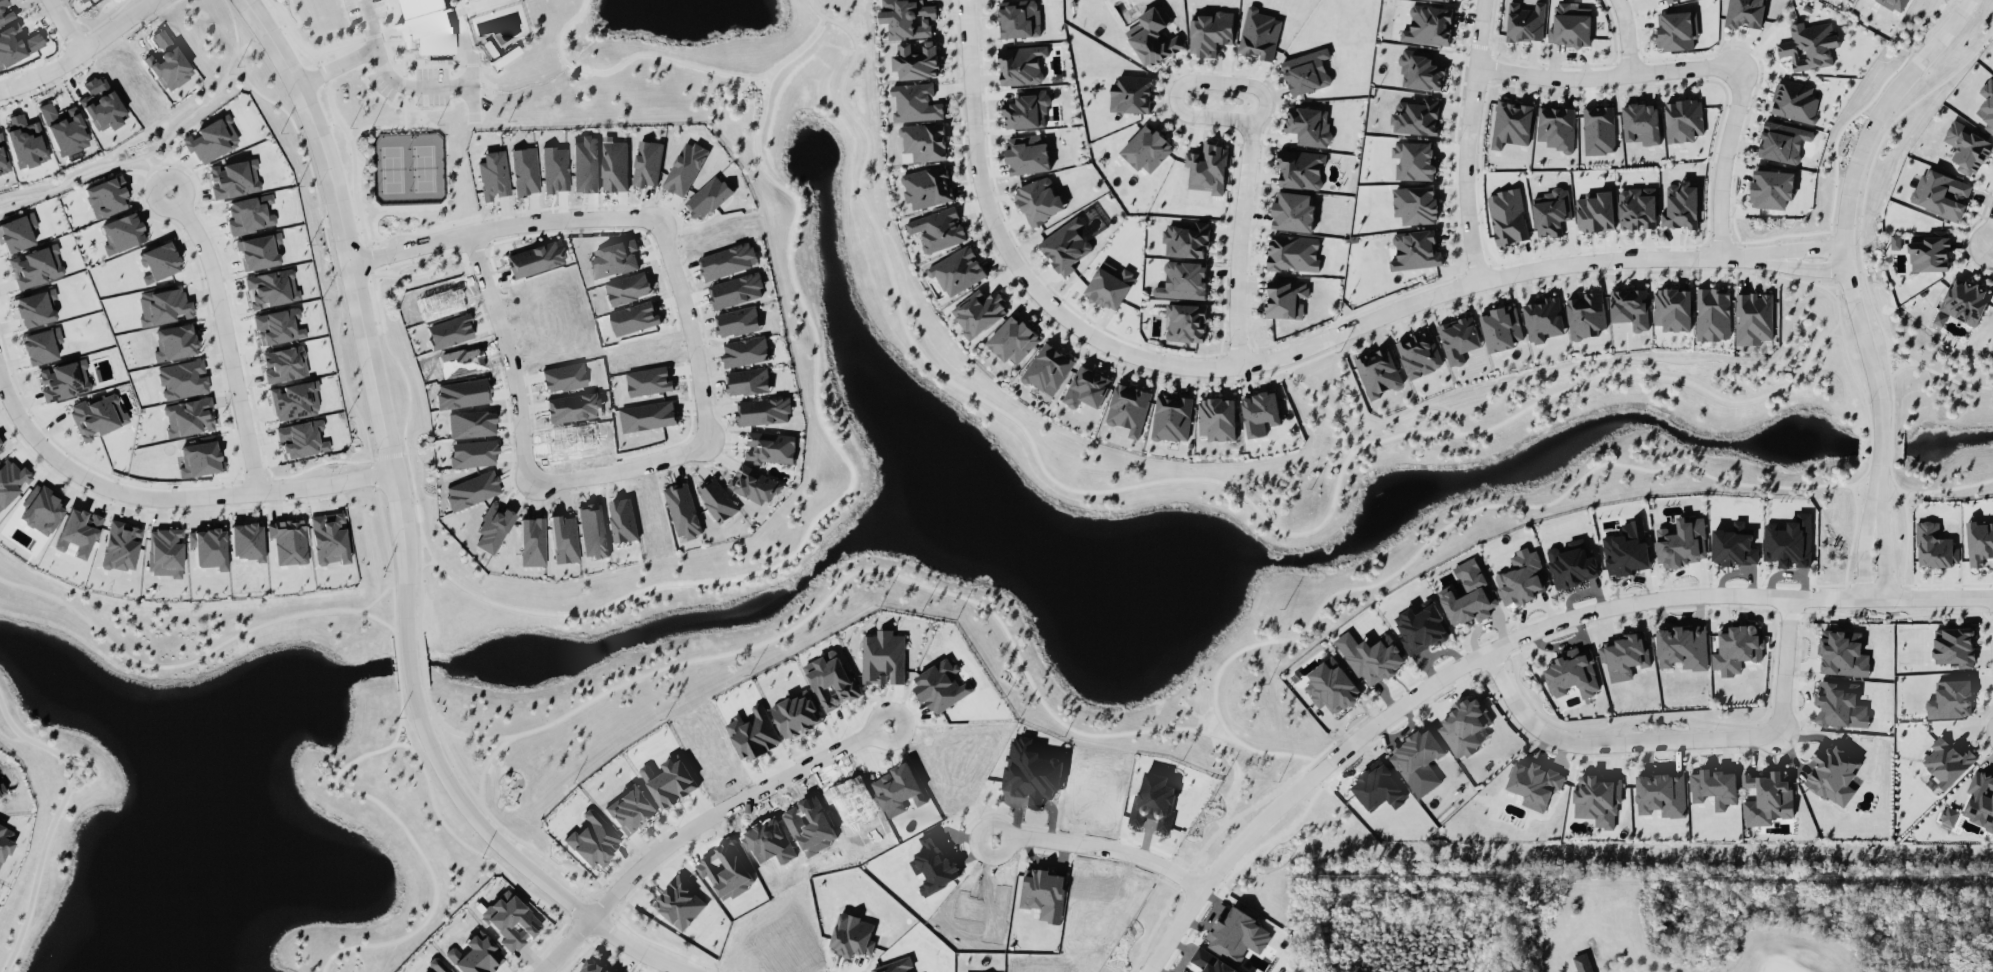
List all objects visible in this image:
building: (81, 0)
building: (1451, 0)
building: (2, 1)
building: (1670, 1)
road: (461, 4)
building: (1894, 4)
road: (471, 6)
building: (1745, 13)
building: (6, 15)
building: (908, 18)
building: (1525, 22)
building: (1571, 24)
road: (65, 25)
building: (1428, 25)
building: (426, 26)
building: (1677, 29)
building: (1210, 33)
building: (1259, 33)
road: (365, 36)
road: (1622, 36)
building: (1154, 38)
building: (17, 44)
building: (1809, 45)
road: (79, 51)
road: (317, 55)
road: (669, 56)
building: (916, 60)
building: (167, 61)
road: (337, 64)
building: (1021, 64)
building: (1420, 70)
building: (1306, 71)
road: (234, 74)
road: (1604, 74)
road: (393, 77)
road: (473, 83)
road: (760, 86)
building: (1131, 94)
building: (1795, 100)
building: (915, 102)
building: (102, 104)
building: (1027, 109)
road: (1189, 114)
building: (1416, 117)
building: (1683, 120)
building: (1641, 122)
building: (1511, 123)
building: (1309, 125)
building: (1556, 127)
building: (64, 128)
building: (1598, 130)
building: (212, 139)
building: (25, 141)
building: (924, 141)
road: (1465, 141)
building: (1782, 141)
building: (1147, 148)
building: (1967, 148)
building: (1027, 154)
road: (142, 156)
building: (3, 157)
road: (1722, 159)
building: (1414, 160)
building: (647, 162)
building: (585, 163)
building: (615, 165)
building: (554, 168)
building: (685, 168)
building: (1207, 168)
park: (411, 169)
building: (1300, 169)
building: (524, 170)
road: (158, 173)
building: (493, 174)
building: (233, 177)
building: (927, 186)
building: (1772, 188)
building: (1940, 193)
building: (107, 196)
building: (708, 196)
road: (1846, 198)
building: (1039, 200)
building: (1416, 204)
building: (1682, 207)
building: (1637, 208)
building: (1595, 210)
building: (1551, 211)
building: (1294, 212)
building: (249, 213)
building: (1507, 216)
road: (501, 225)
building: (938, 229)
building: (17, 231)
building: (122, 232)
building: (1186, 239)
road: (1992, 239)
building: (1896, 241)
road: (1238, 242)
road: (1992, 242)
building: (1066, 246)
road: (1810, 249)
building: (259, 250)
building: (1416, 250)
building: (1930, 251)
building: (1293, 252)
building: (534, 258)
building: (613, 258)
building: (727, 260)
building: (159, 261)
building: (36, 265)
road: (1811, 268)
road: (426, 269)
building: (958, 270)
building: (1183, 280)
road: (1496, 283)
building: (1109, 285)
building: (628, 287)
building: (271, 288)
building: (737, 290)
building: (1286, 298)
building: (1965, 301)
building: (163, 306)
building: (35, 307)
building: (1630, 307)
building: (1673, 309)
road: (1408, 310)
building: (980, 311)
building: (1713, 313)
building: (1586, 315)
building: (1753, 318)
building: (1543, 319)
building: (626, 321)
building: (737, 321)
building: (1185, 322)
road: (1394, 322)
road: (1835, 325)
building: (277, 326)
building: (1501, 328)
building: (449, 330)
road: (690, 330)
road: (1359, 331)
road: (1837, 333)
road: (225, 335)
building: (1459, 338)
building: (1013, 339)
building: (175, 341)
building: (41, 345)
building: (745, 351)
road: (1847, 351)
building: (1419, 354)
road: (509, 356)
building: (283, 363)
road: (1251, 363)
road: (340, 365)
building: (1048, 368)
building: (1379, 372)
road: (1938, 372)
building: (563, 376)
building: (182, 378)
building: (64, 379)
building: (649, 380)
building: (748, 381)
building: (1087, 387)
road: (1891, 391)
building: (462, 392)
road: (1322, 399)
building: (573, 406)
building: (1129, 408)
building: (763, 411)
building: (1260, 413)
building: (98, 414)
building: (648, 415)
building: (189, 416)
building: (1172, 417)
building: (1217, 418)
building: (471, 423)
building: (302, 438)
road: (1358, 439)
road: (1351, 445)
road: (1871, 446)
road: (1879, 446)
road: (1890, 446)
building: (1, 447)
building: (770, 447)
building: (472, 452)
road: (388, 454)
building: (200, 458)
road: (618, 471)
road: (1206, 478)
building: (11, 480)
road: (392, 480)
building: (755, 484)
building: (471, 489)
road: (1932, 489)
road: (1874, 491)
road: (170, 496)
building: (717, 499)
building: (41, 508)
building: (683, 509)
building: (623, 519)
road: (1856, 519)
road: (1873, 521)
building: (493, 526)
road: (1442, 528)
building: (592, 530)
building: (77, 531)
building: (329, 538)
building: (564, 538)
building: (246, 540)
building: (288, 540)
building: (531, 541)
building: (1682, 541)
building: (1979, 542)
building: (120, 545)
building: (1734, 545)
building: (1933, 545)
building: (208, 547)
building: (1628, 549)
building: (165, 551)
building: (1576, 564)
building: (1522, 577)
road: (1839, 583)
building: (1468, 593)
road: (377, 597)
road: (583, 611)
road: (378, 618)
building: (1423, 627)
road: (781, 634)
road: (1505, 641)
building: (1954, 645)
building: (1682, 646)
building: (1736, 648)
building: (1843, 653)
building: (1371, 656)
building: (1626, 656)
building: (884, 657)
road: (173, 663)
road: (1785, 665)
building: (1572, 673)
building: (834, 683)
building: (941, 685)
building: (1331, 685)
building: (1951, 699)
building: (1840, 704)
building: (797, 714)
building: (1465, 726)
road: (1216, 728)
road: (397, 730)
building: (754, 732)
road: (1610, 744)
building: (1417, 755)
building: (1946, 761)
road: (340, 770)
building: (1031, 771)
building: (1832, 774)
building: (669, 781)
building: (1534, 783)
building: (1379, 787)
building: (1714, 787)
building: (2, 789)
building: (898, 789)
building: (1661, 793)
building: (1768, 798)
building: (1597, 799)
building: (1980, 799)
building: (1155, 800)
road: (729, 807)
building: (631, 809)
building: (1950, 815)
road: (53, 820)
building: (592, 839)
building: (4, 841)
road: (1101, 846)
building: (936, 867)
building: (727, 869)
building: (1044, 893)
park: (1627, 914)
building: (511, 920)
building: (853, 935)
building: (1238, 935)
road: (565, 946)
road: (637, 950)
building: (474, 954)
building: (1582, 962)
building: (1208, 963)
building: (436, 965)
building: (894, 966)
building: (594, 967)

